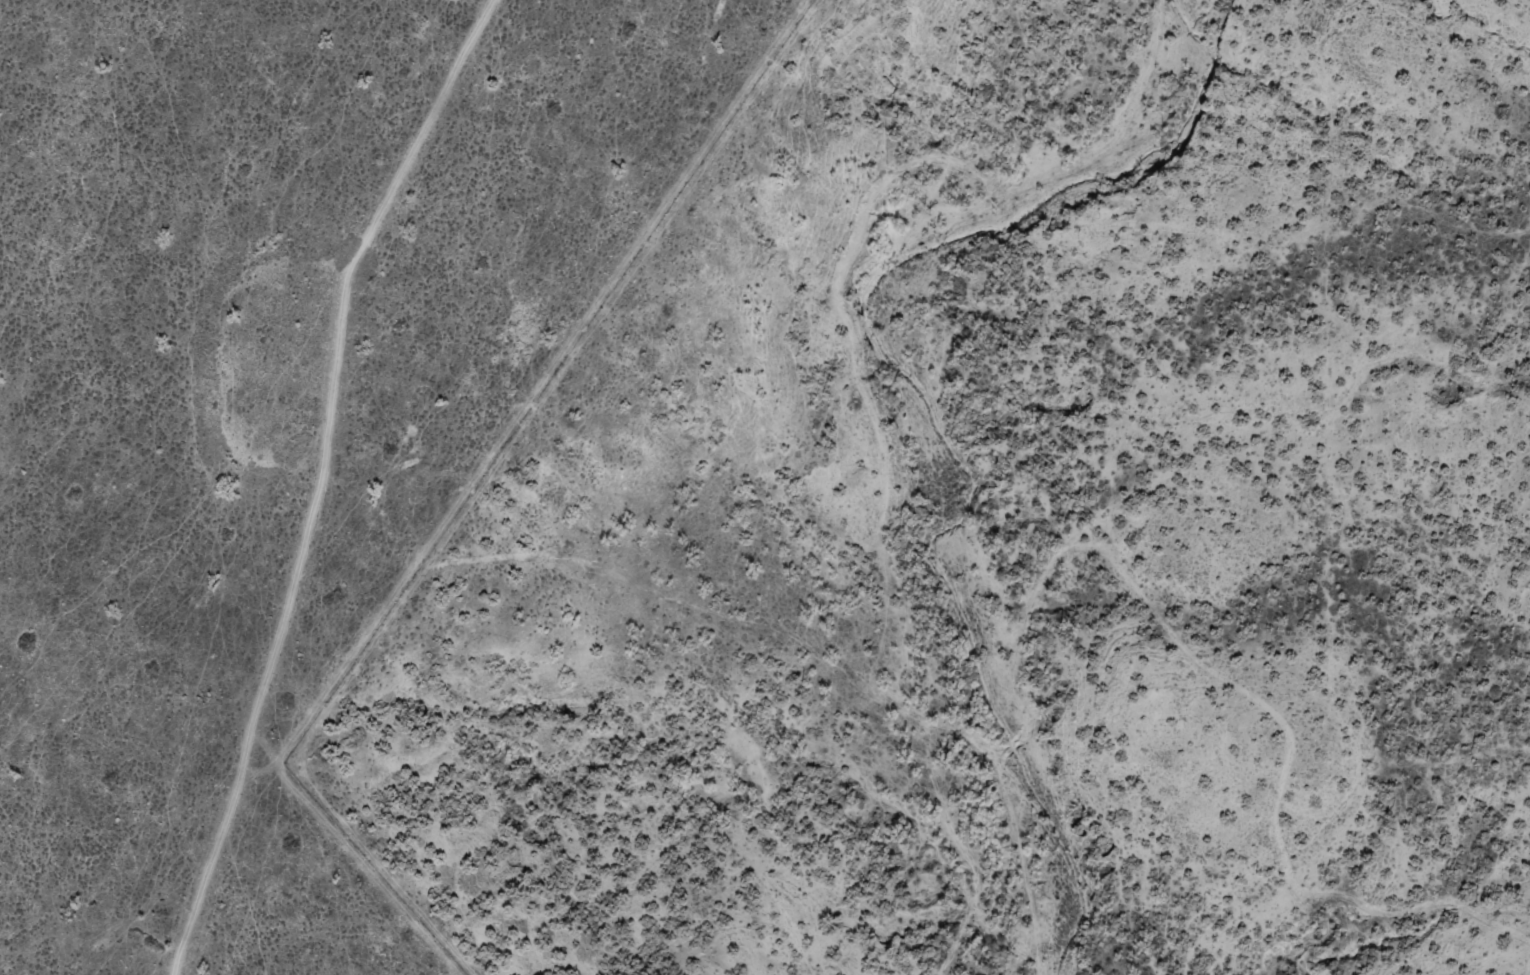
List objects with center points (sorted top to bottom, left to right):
road: (285, 479)

